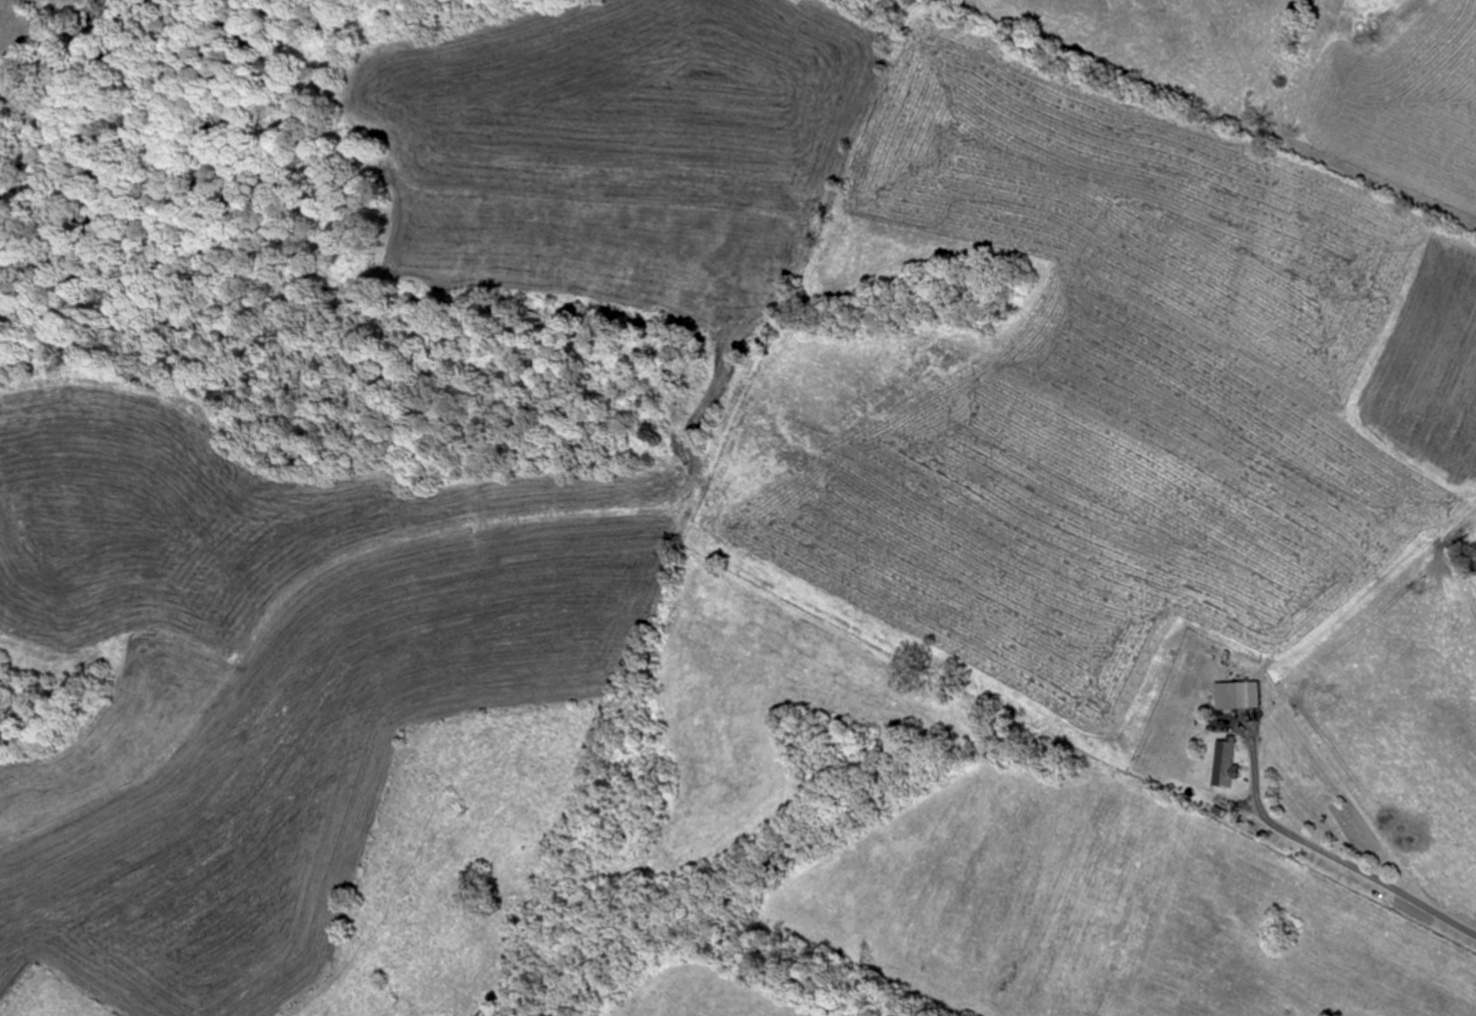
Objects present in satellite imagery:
building: (1237, 696)
building: (1224, 764)

